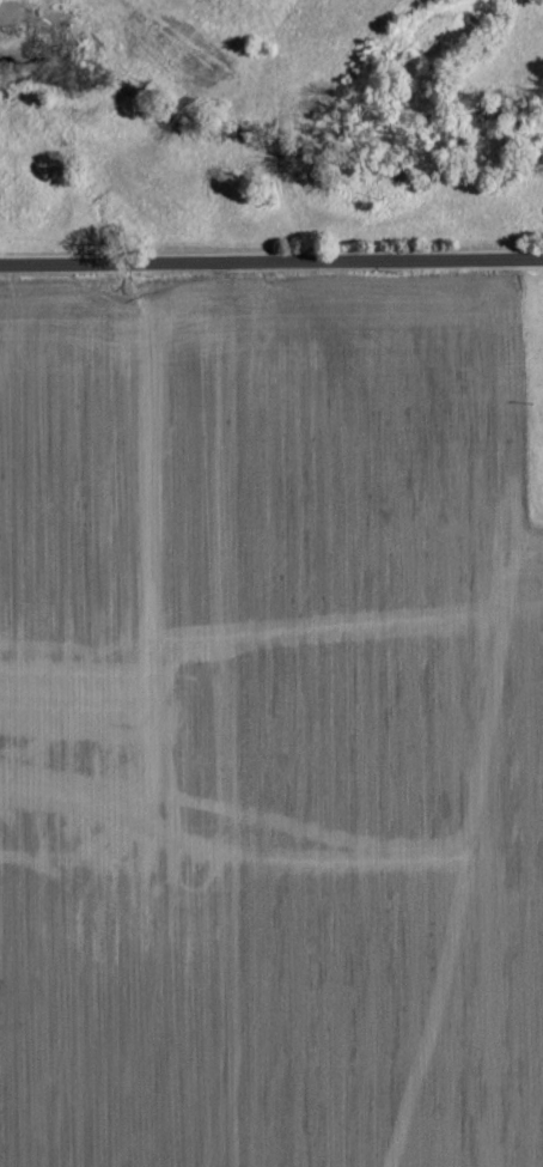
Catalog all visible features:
road: (270, 262)

